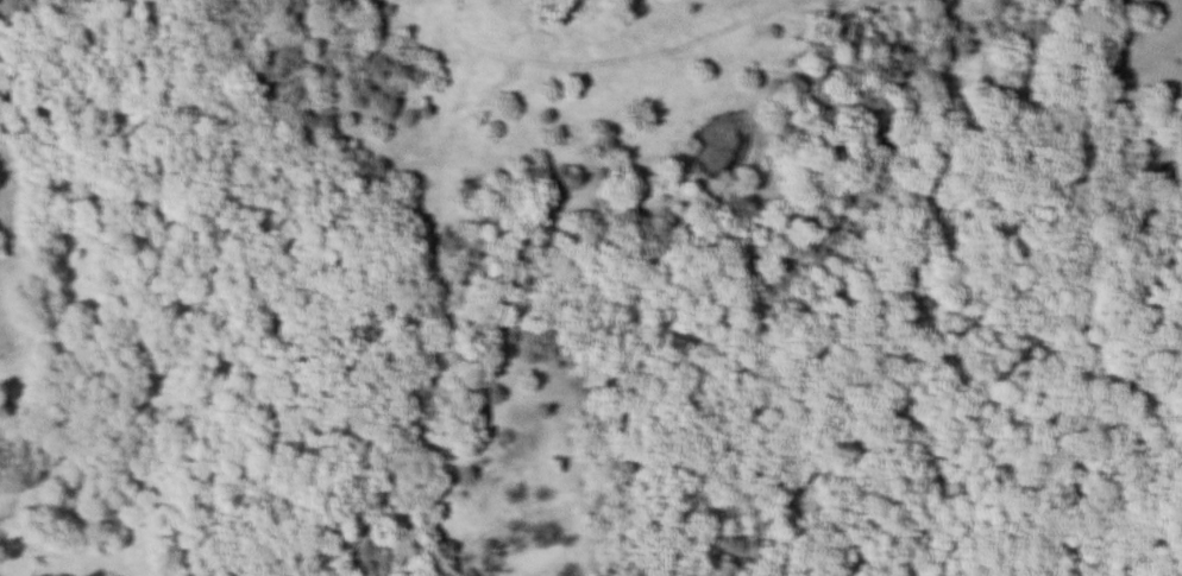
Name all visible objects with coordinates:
road: (1076, 287)

